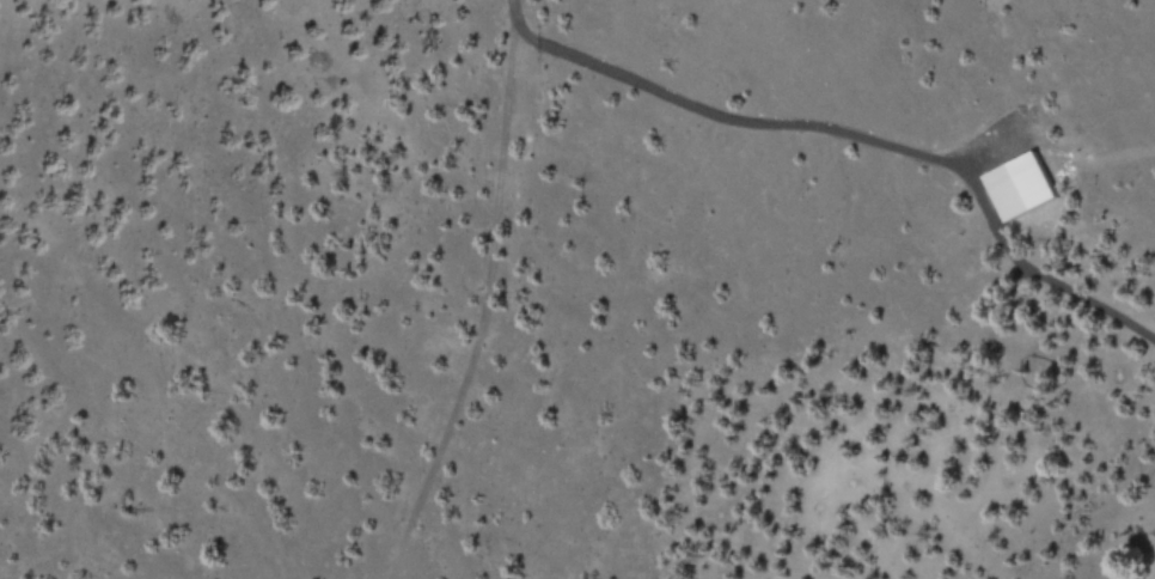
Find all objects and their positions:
building: (1019, 185)

